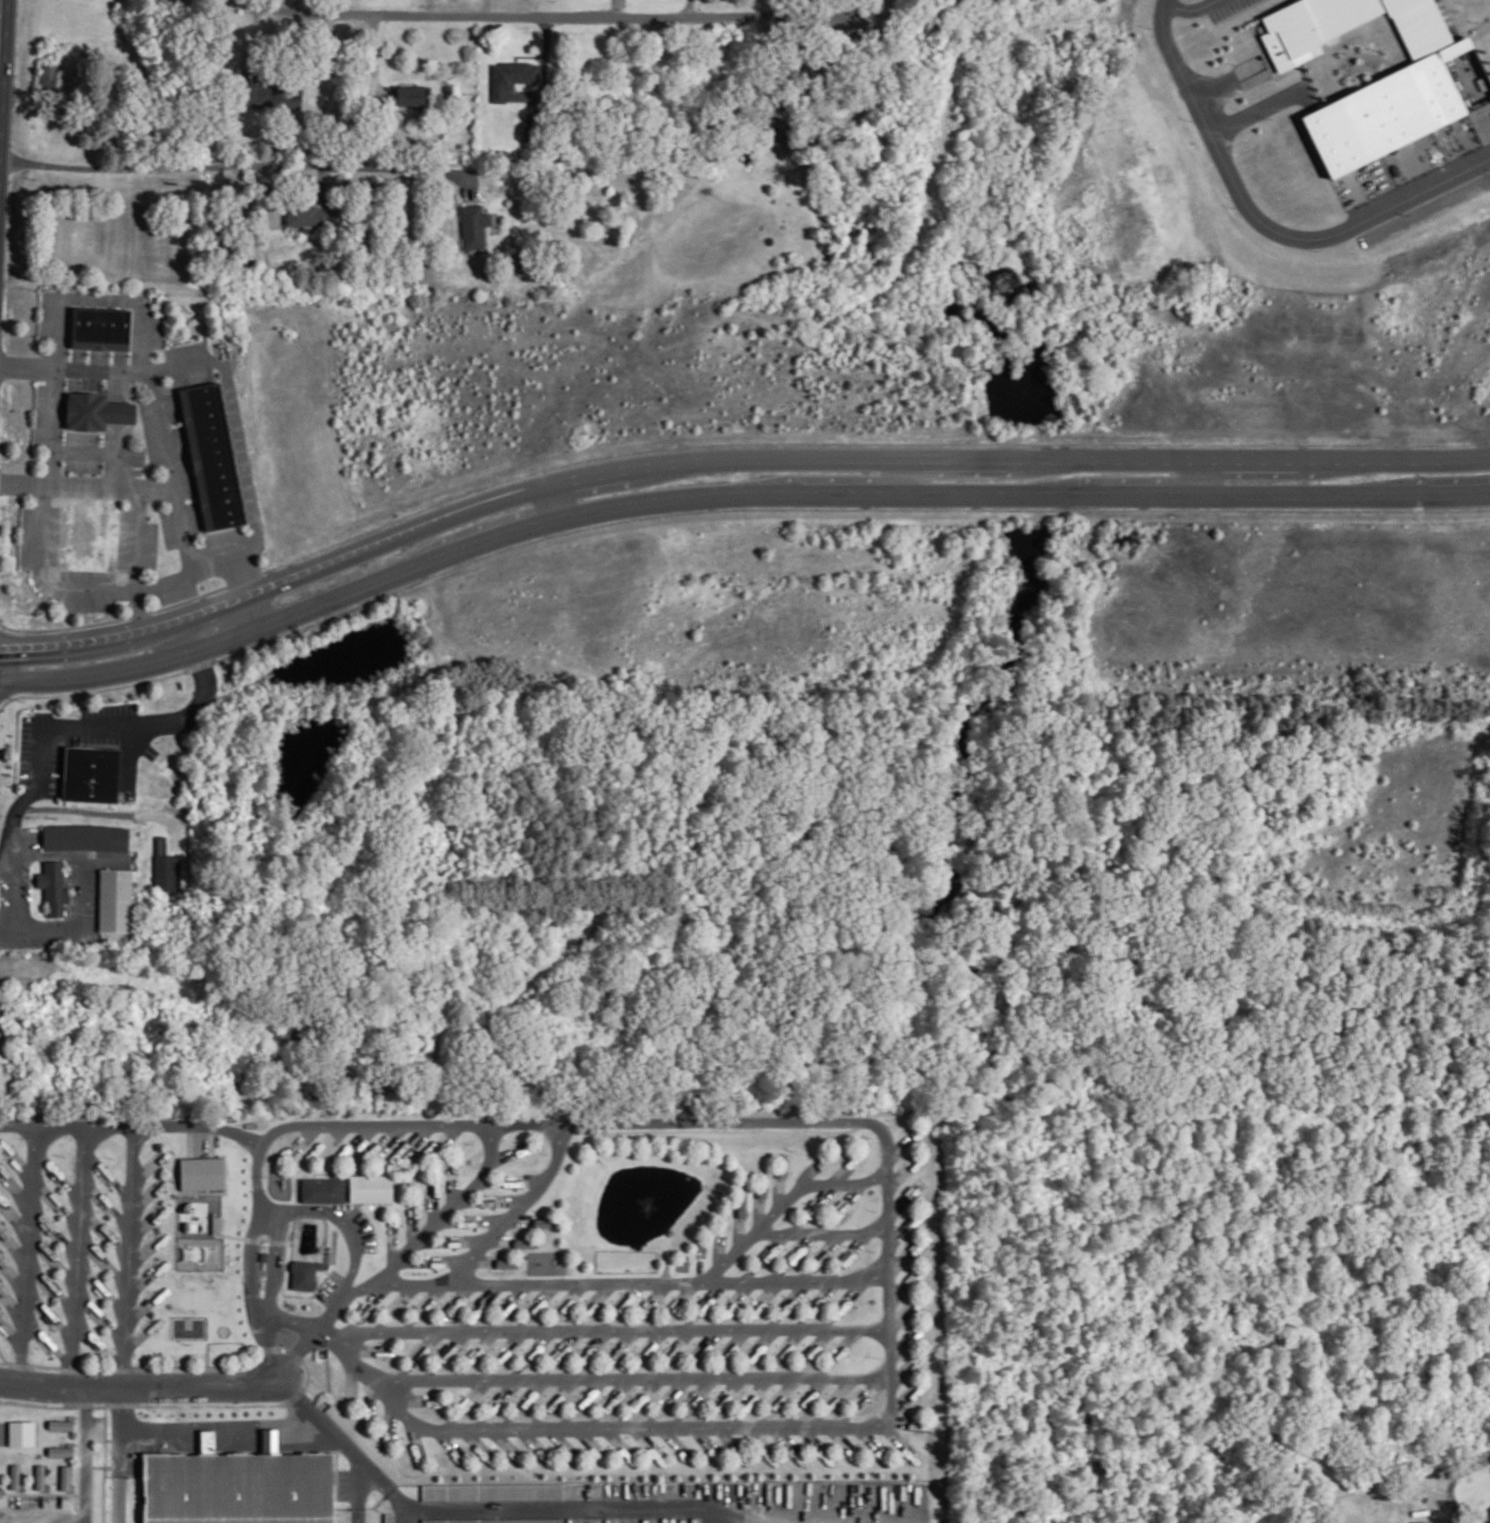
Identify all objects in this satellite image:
road: (683, 9)
parking lot: (1222, 10)
road: (520, 16)
road: (1189, 16)
road: (1151, 19)
road: (373, 65)
building: (511, 77)
road: (1218, 87)
building: (291, 94)
building: (411, 95)
building: (1403, 95)
road: (1251, 119)
road: (229, 163)
building: (305, 216)
building: (473, 226)
road: (1271, 242)
building: (100, 328)
road: (145, 366)
road: (102, 369)
building: (96, 411)
road: (55, 423)
building: (211, 456)
road: (728, 459)
building: (242, 465)
road: (896, 476)
road: (1205, 476)
road: (114, 485)
road: (729, 495)
road: (557, 499)
road: (185, 575)
road: (42, 578)
road: (261, 610)
road: (107, 727)
building: (90, 774)
road: (109, 813)
road: (8, 830)
building: (85, 837)
building: (165, 867)
building: (53, 887)
road: (11, 890)
building: (115, 900)
road: (132, 1101)
road: (251, 1139)
building: (781, 1165)
building: (202, 1173)
building: (370, 1188)
building: (322, 1190)
road: (783, 1201)
building: (741, 1205)
road: (519, 1207)
road: (436, 1222)
building: (544, 1223)
building: (216, 1224)
building: (3, 1232)
road: (820, 1233)
building: (523, 1242)
road: (28, 1253)
road: (77, 1254)
road: (127, 1255)
building: (3, 1261)
road: (273, 1263)
building: (504, 1263)
road: (888, 1263)
road: (353, 1267)
building: (303, 1275)
road: (634, 1280)
building: (2, 1289)
building: (538, 1306)
building: (2, 1318)
road: (290, 1320)
road: (604, 1329)
road: (629, 1378)
road: (139, 1386)
road: (219, 1420)
building: (61, 1424)
road: (119, 1428)
building: (22, 1433)
road: (347, 1446)
building: (60, 1451)
building: (566, 1453)
building: (796, 1454)
building: (15, 1476)
building: (40, 1476)
building: (65, 1477)
road: (357, 1477)
building: (238, 1485)
building: (491, 1491)
road: (119, 1497)
road: (358, 1502)
road: (648, 1507)
building: (1489, 1508)
street lamp: (93, 1509)
road: (358, 1514)
building: (389, 1518)
building: (494, 1520)
building: (1422, 1522)

